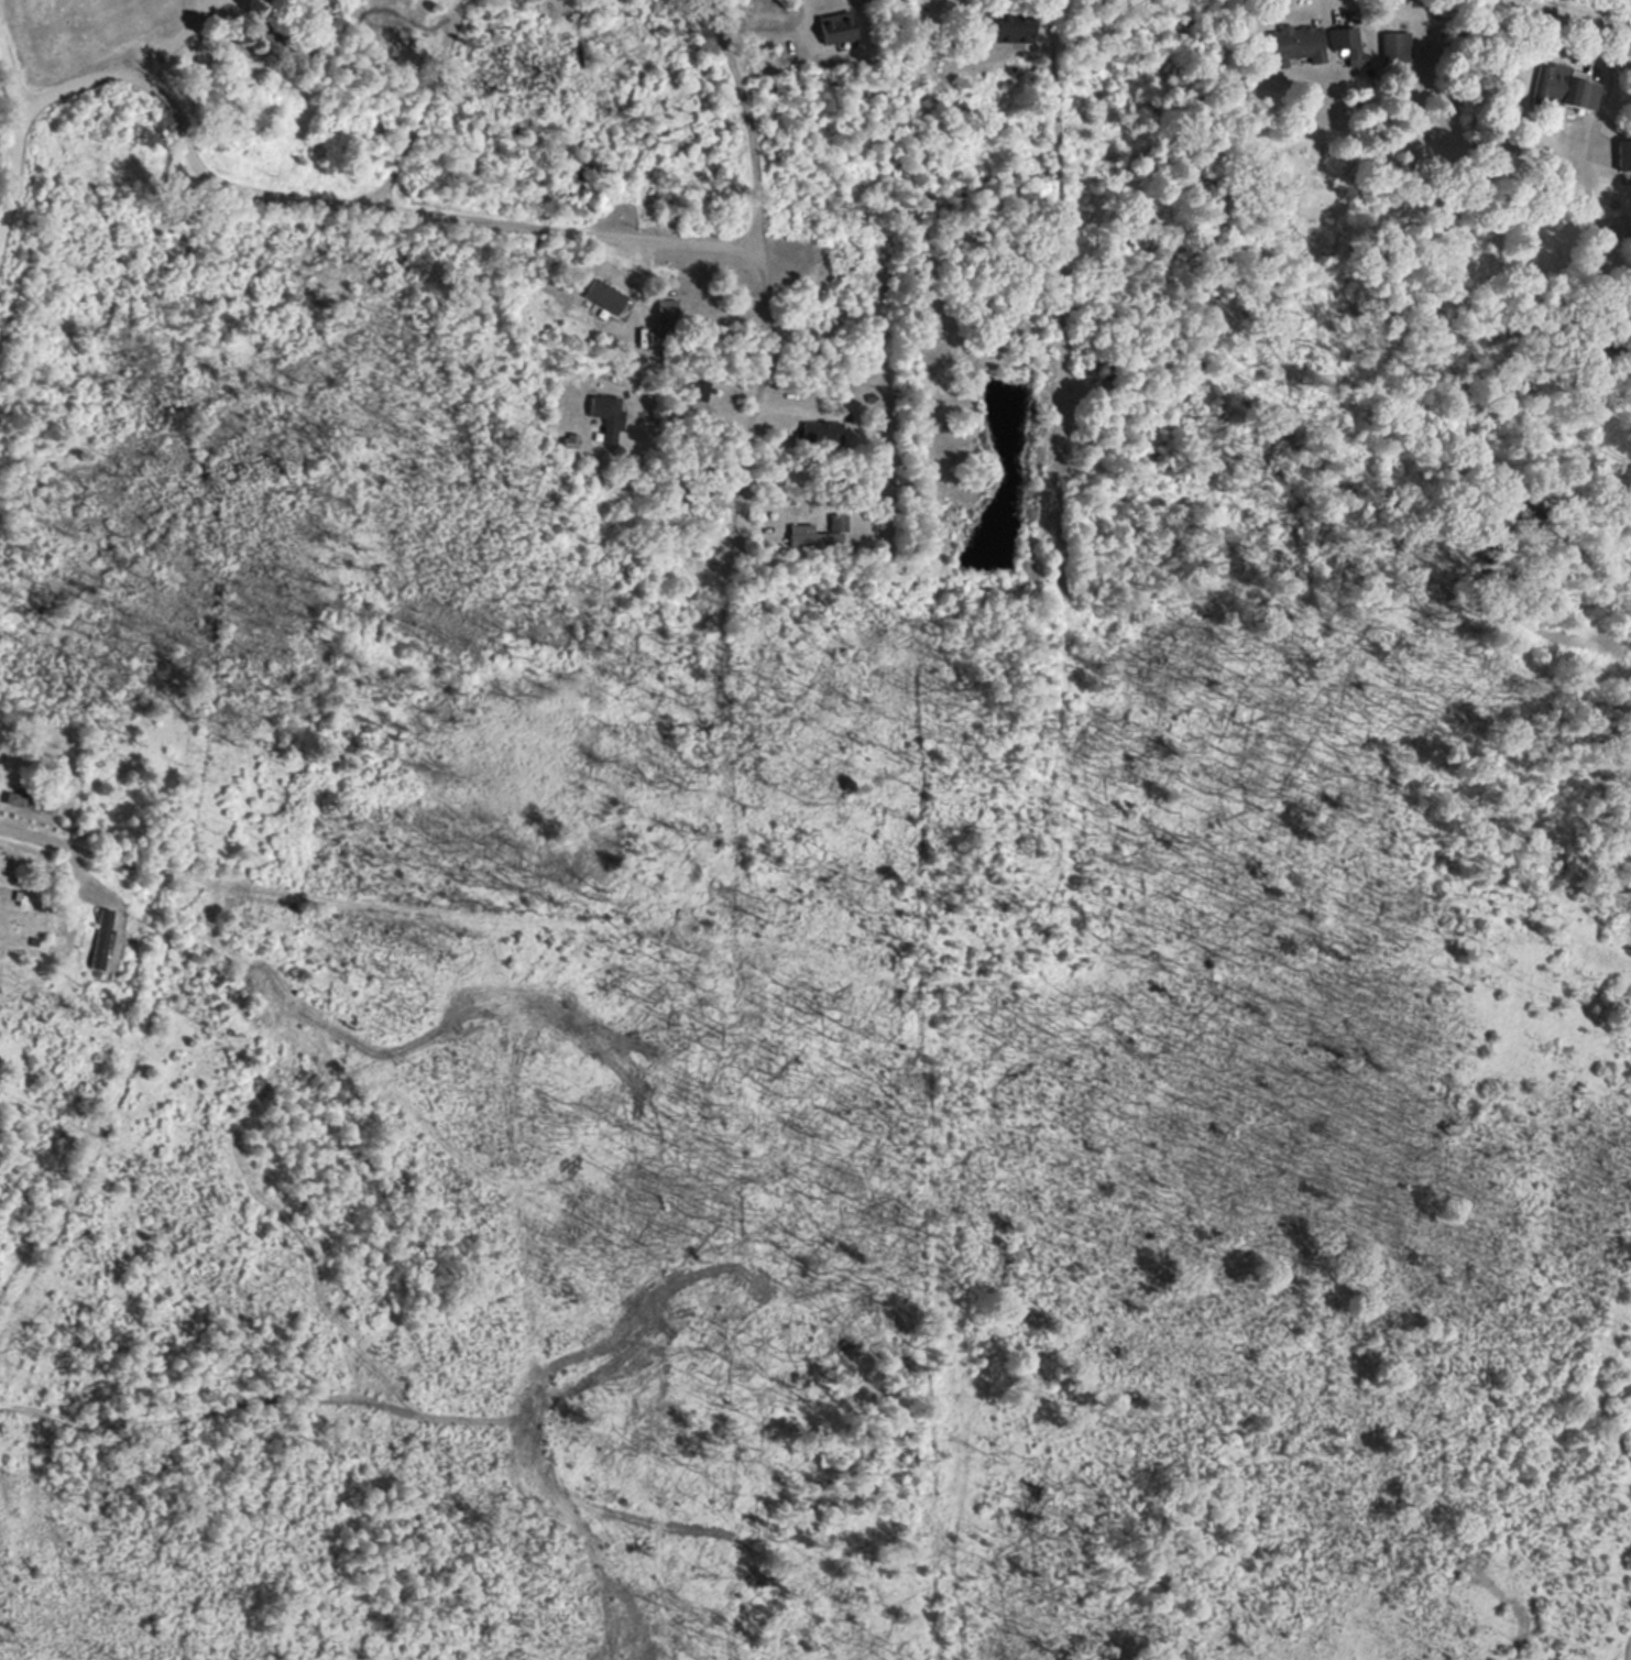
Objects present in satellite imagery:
road: (1583, 13)
building: (838, 29)
building: (1012, 30)
building: (285, 44)
building: (1349, 46)
building: (1296, 47)
building: (1397, 48)
road: (117, 65)
road: (7, 72)
building: (1565, 89)
road: (416, 103)
building: (1623, 157)
road: (11, 162)
road: (6, 184)
road: (405, 207)
road: (759, 270)
road: (1064, 296)
building: (607, 298)
building: (666, 309)
building: (699, 390)
building: (609, 416)
building: (823, 435)
building: (820, 534)
building: (30, 802)
road: (83, 875)
road: (394, 924)
building: (102, 940)

